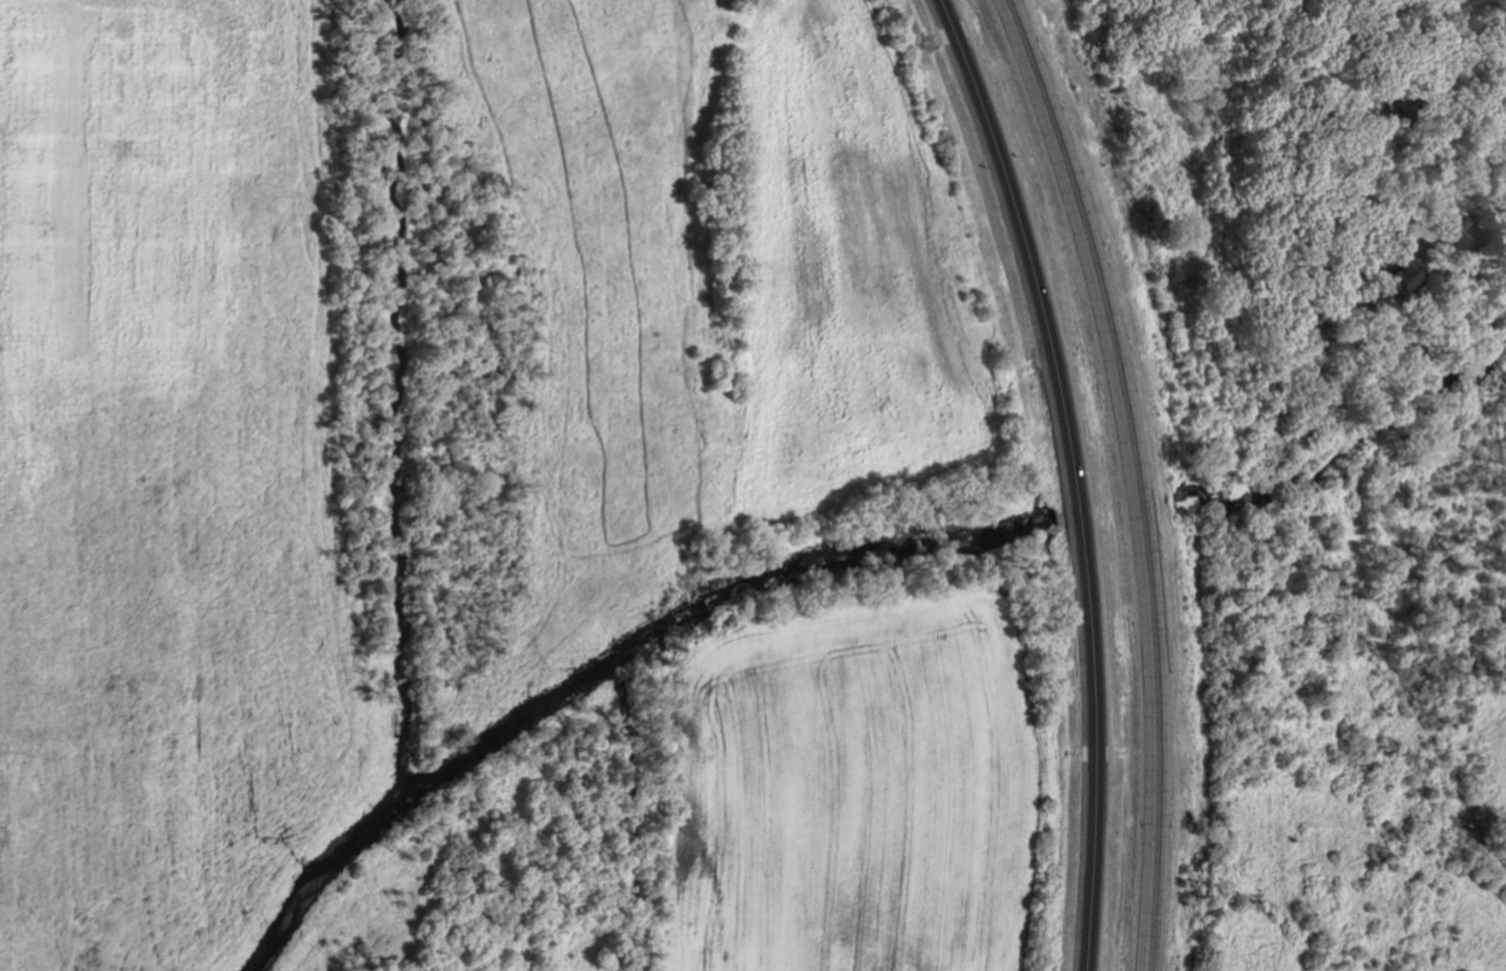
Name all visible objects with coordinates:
building: (1498, 130)
building: (1505, 150)
road: (1445, 153)
building: (1448, 231)
building: (1397, 278)
road: (1073, 476)
road: (1134, 476)

